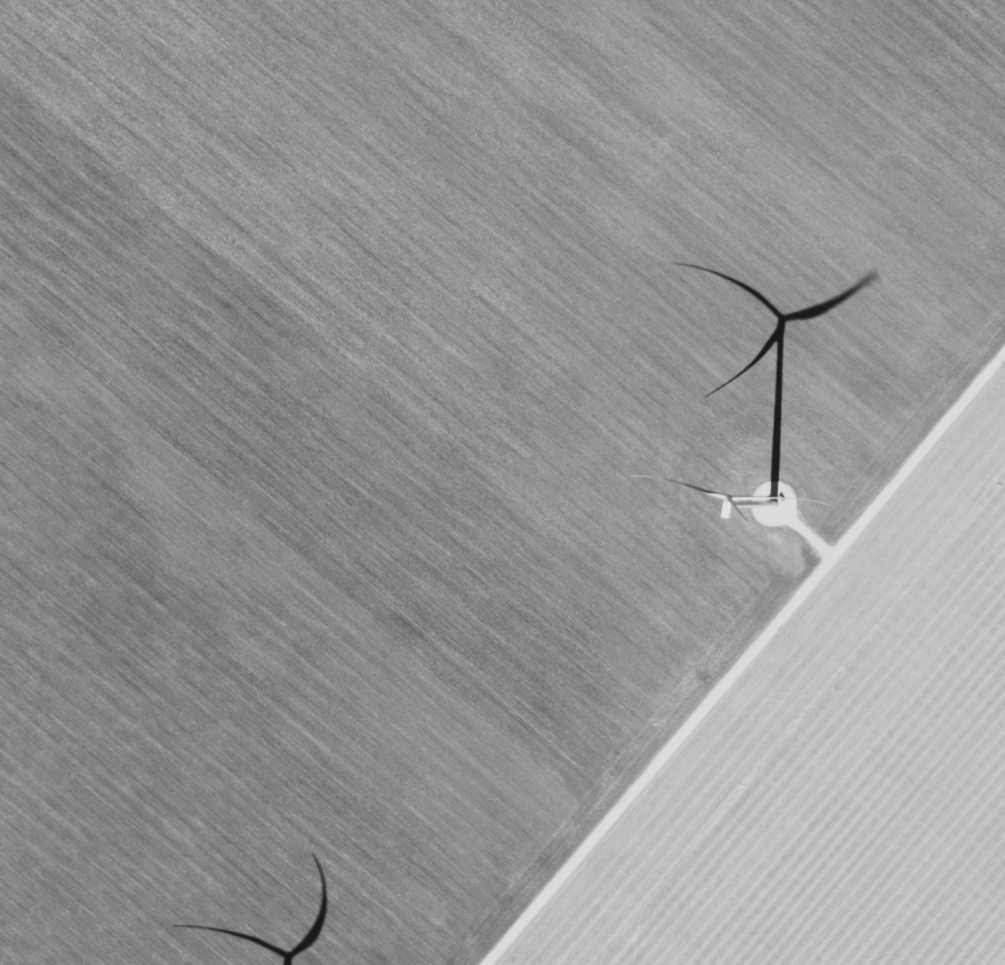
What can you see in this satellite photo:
wind turbine: (776, 491)

